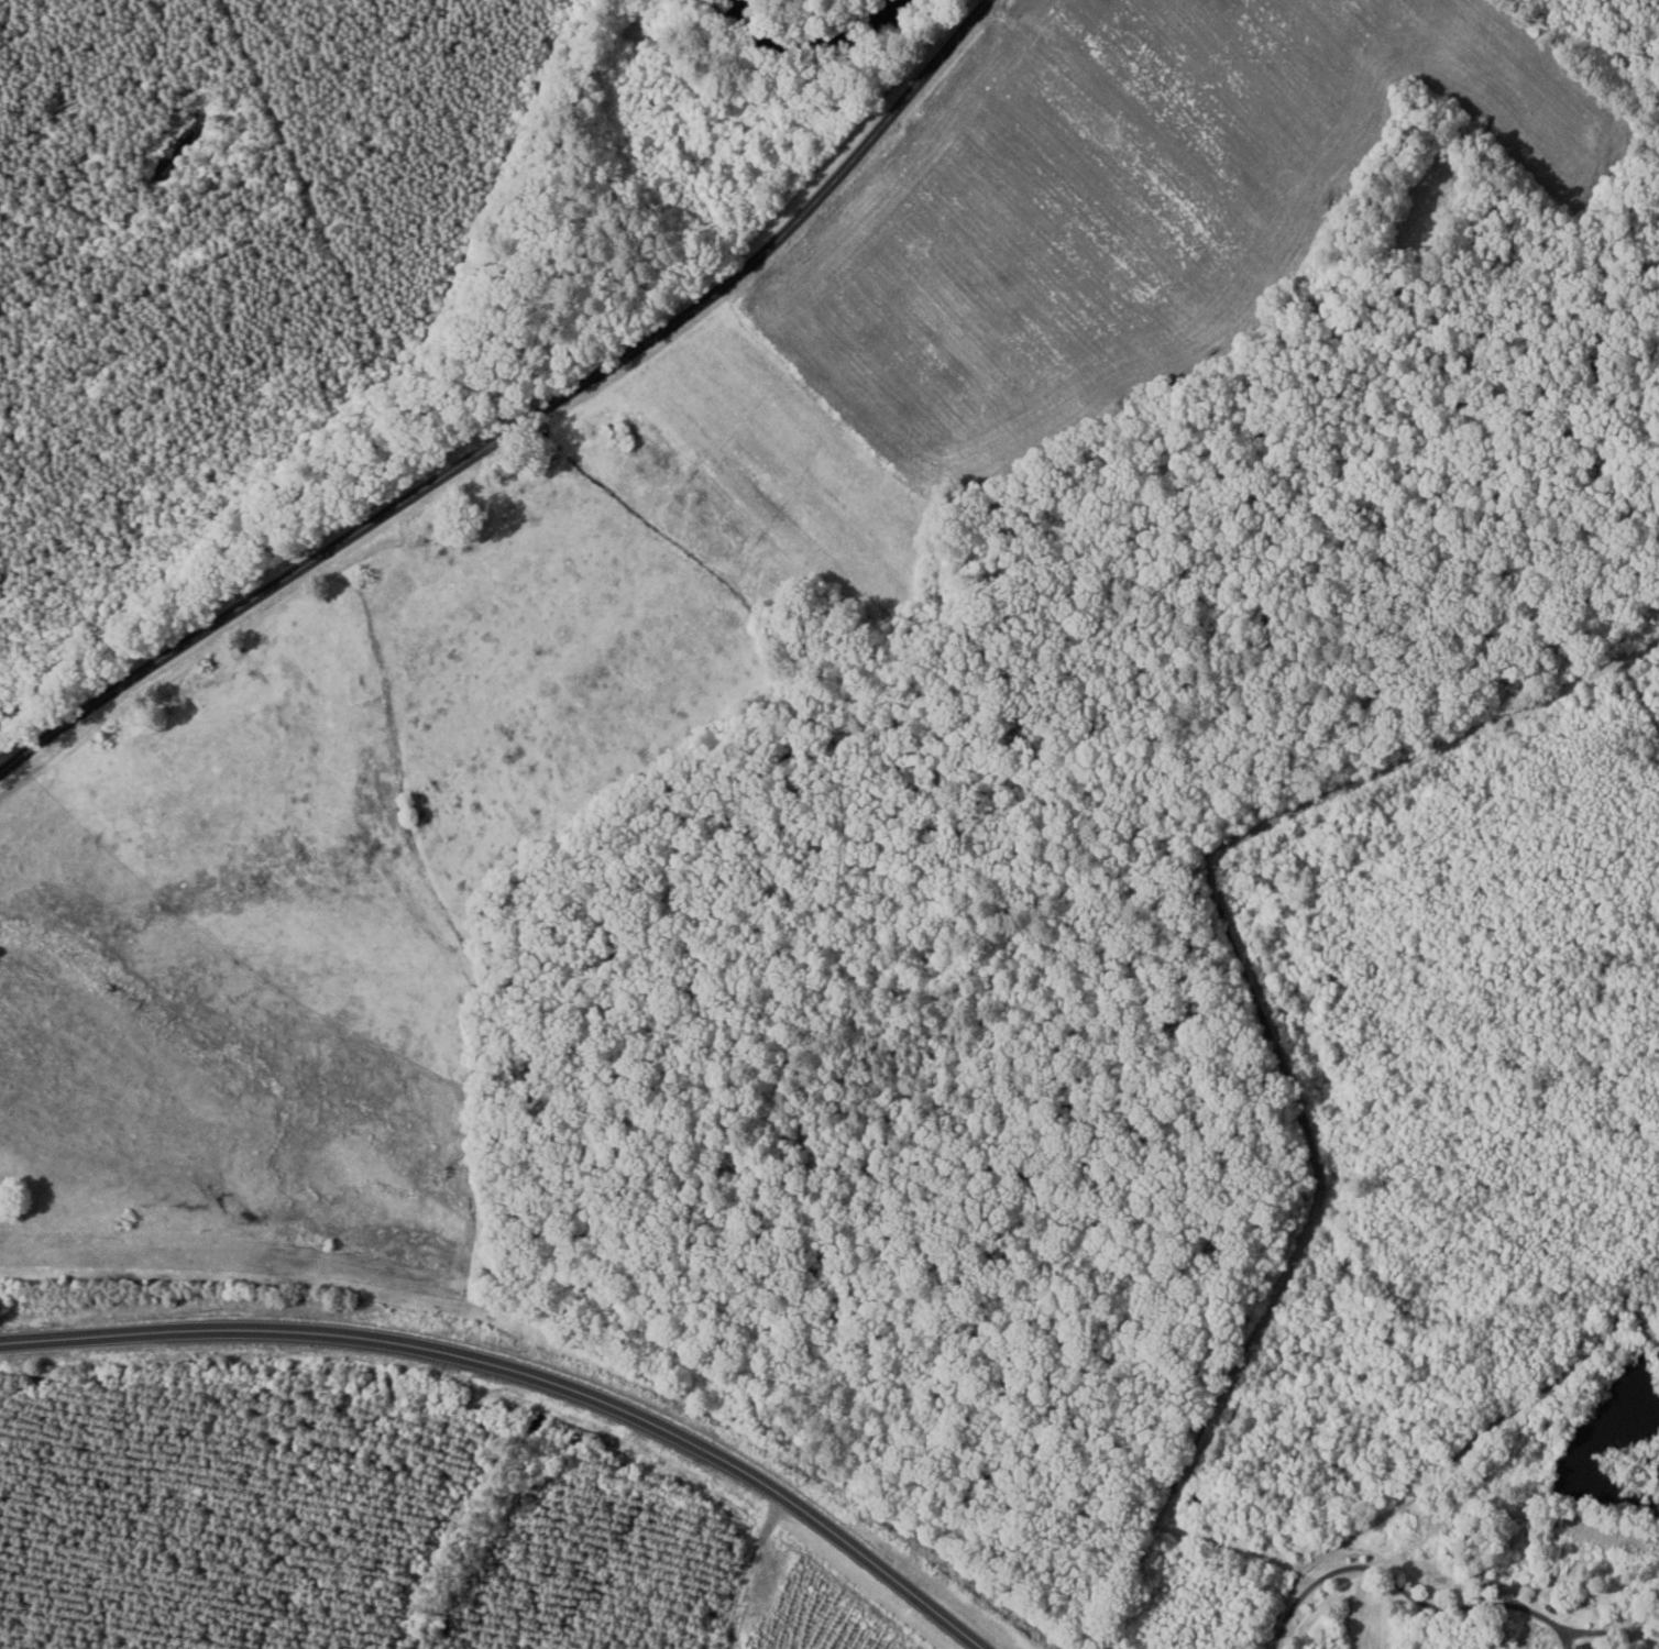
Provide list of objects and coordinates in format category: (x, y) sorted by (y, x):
road: (524, 421)
road: (526, 1372)

